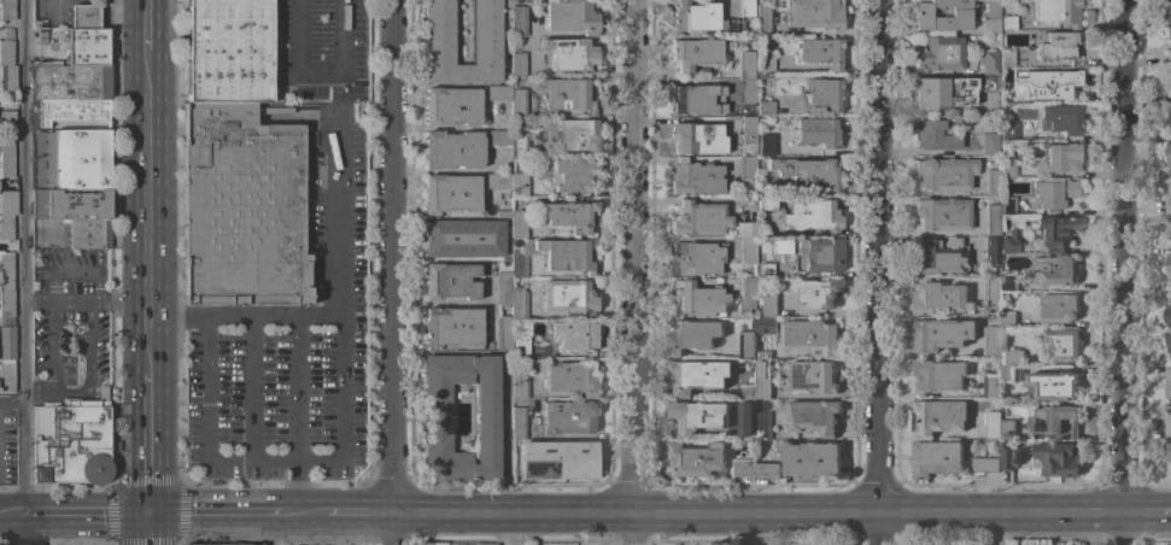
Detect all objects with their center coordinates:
building: (746, 8)
building: (7, 10)
building: (960, 12)
building: (1058, 12)
building: (814, 13)
building: (86, 14)
building: (1169, 14)
building: (569, 17)
building: (701, 18)
building: (991, 18)
building: (762, 19)
building: (519, 20)
building: (1009, 22)
road: (150, 24)
building: (439, 31)
building: (1169, 36)
building: (1056, 45)
building: (95, 46)
building: (228, 51)
building: (819, 52)
building: (6, 53)
building: (693, 53)
building: (939, 53)
road: (300, 54)
building: (572, 54)
building: (1006, 59)
building: (990, 63)
building: (516, 64)
building: (766, 64)
building: (745, 65)
building: (1169, 76)
building: (7, 77)
building: (71, 82)
building: (1047, 83)
building: (988, 84)
building: (746, 90)
building: (943, 92)
building: (497, 93)
building: (824, 93)
building: (568, 95)
building: (516, 98)
building: (696, 99)
building: (451, 106)
building: (766, 107)
building: (72, 112)
building: (1170, 115)
building: (1060, 121)
building: (7, 125)
building: (1009, 130)
building: (748, 131)
building: (816, 133)
building: (578, 134)
building: (935, 136)
building: (497, 137)
building: (696, 139)
building: (519, 145)
building: (766, 145)
building: (990, 145)
building: (452, 150)
building: (1169, 156)
building: (41, 157)
building: (316, 157)
building: (1061, 157)
building: (6, 158)
building: (76, 159)
building: (746, 168)
building: (1008, 169)
building: (808, 171)
building: (572, 174)
building: (944, 174)
building: (693, 178)
building: (497, 181)
building: (993, 181)
building: (519, 184)
building: (1054, 193)
building: (450, 194)
building: (1169, 201)
building: (8, 203)
building: (70, 204)
building: (1008, 205)
road: (150, 207)
building: (241, 207)
building: (804, 213)
building: (942, 213)
building: (569, 215)
building: (705, 221)
building: (994, 221)
building: (515, 222)
building: (1169, 225)
building: (6, 227)
building: (1055, 232)
parking lot: (48, 233)
building: (88, 234)
building: (463, 238)
building: (1009, 242)
building: (748, 251)
building: (993, 251)
building: (809, 254)
building: (568, 256)
building: (939, 257)
building: (696, 258)
building: (517, 264)
building: (1169, 265)
building: (6, 269)
building: (1056, 269)
building: (766, 270)
road: (29, 271)
road: (878, 271)
road: (1129, 271)
road: (62, 272)
road: (397, 272)
road: (634, 272)
building: (449, 281)
building: (1011, 281)
building: (503, 282)
building: (748, 292)
building: (819, 292)
building: (993, 292)
building: (569, 297)
building: (942, 298)
building: (699, 299)
building: (6, 303)
road: (88, 303)
building: (769, 303)
building: (517, 304)
building: (1060, 306)
building: (1169, 315)
parking lot: (70, 316)
road: (177, 317)
road: (274, 318)
building: (1007, 320)
building: (765, 324)
building: (451, 327)
building: (503, 333)
building: (943, 333)
building: (692, 334)
building: (575, 335)
building: (812, 336)
building: (521, 339)
building: (993, 340)
building: (1169, 340)
building: (748, 344)
building: (1061, 344)
building: (7, 345)
road: (52, 346)
road: (92, 348)
building: (762, 354)
building: (1012, 357)
road: (342, 365)
building: (1007, 373)
building: (939, 374)
building: (698, 375)
building: (813, 375)
building: (103, 376)
building: (6, 377)
building: (572, 377)
building: (1169, 381)
building: (519, 383)
building: (1055, 383)
building: (991, 386)
building: (763, 387)
road: (252, 389)
road: (294, 389)
road: (40, 391)
road: (68, 391)
building: (749, 391)
road: (14, 405)
building: (699, 415)
building: (814, 415)
building: (941, 416)
building: (568, 417)
building: (748, 417)
building: (438, 418)
building: (1054, 418)
building: (1169, 421)
building: (517, 423)
building: (994, 423)
building: (762, 424)
building: (1008, 428)
parking lot: (7, 440)
building: (71, 440)
road: (150, 440)
road: (503, 440)
building: (1007, 455)
building: (812, 457)
building: (937, 457)
building: (697, 458)
building: (1058, 459)
building: (556, 461)
building: (1169, 461)
building: (985, 463)
building: (744, 467)
building: (767, 470)
road: (295, 487)
road: (1148, 511)
road: (83, 514)
traffic signals: (150, 514)
road: (216, 514)
road: (289, 514)
road: (312, 514)
road: (362, 514)
road: (761, 514)
road: (8, 516)
road: (150, 529)
road: (267, 529)
building: (1005, 543)
building: (236, 544)

